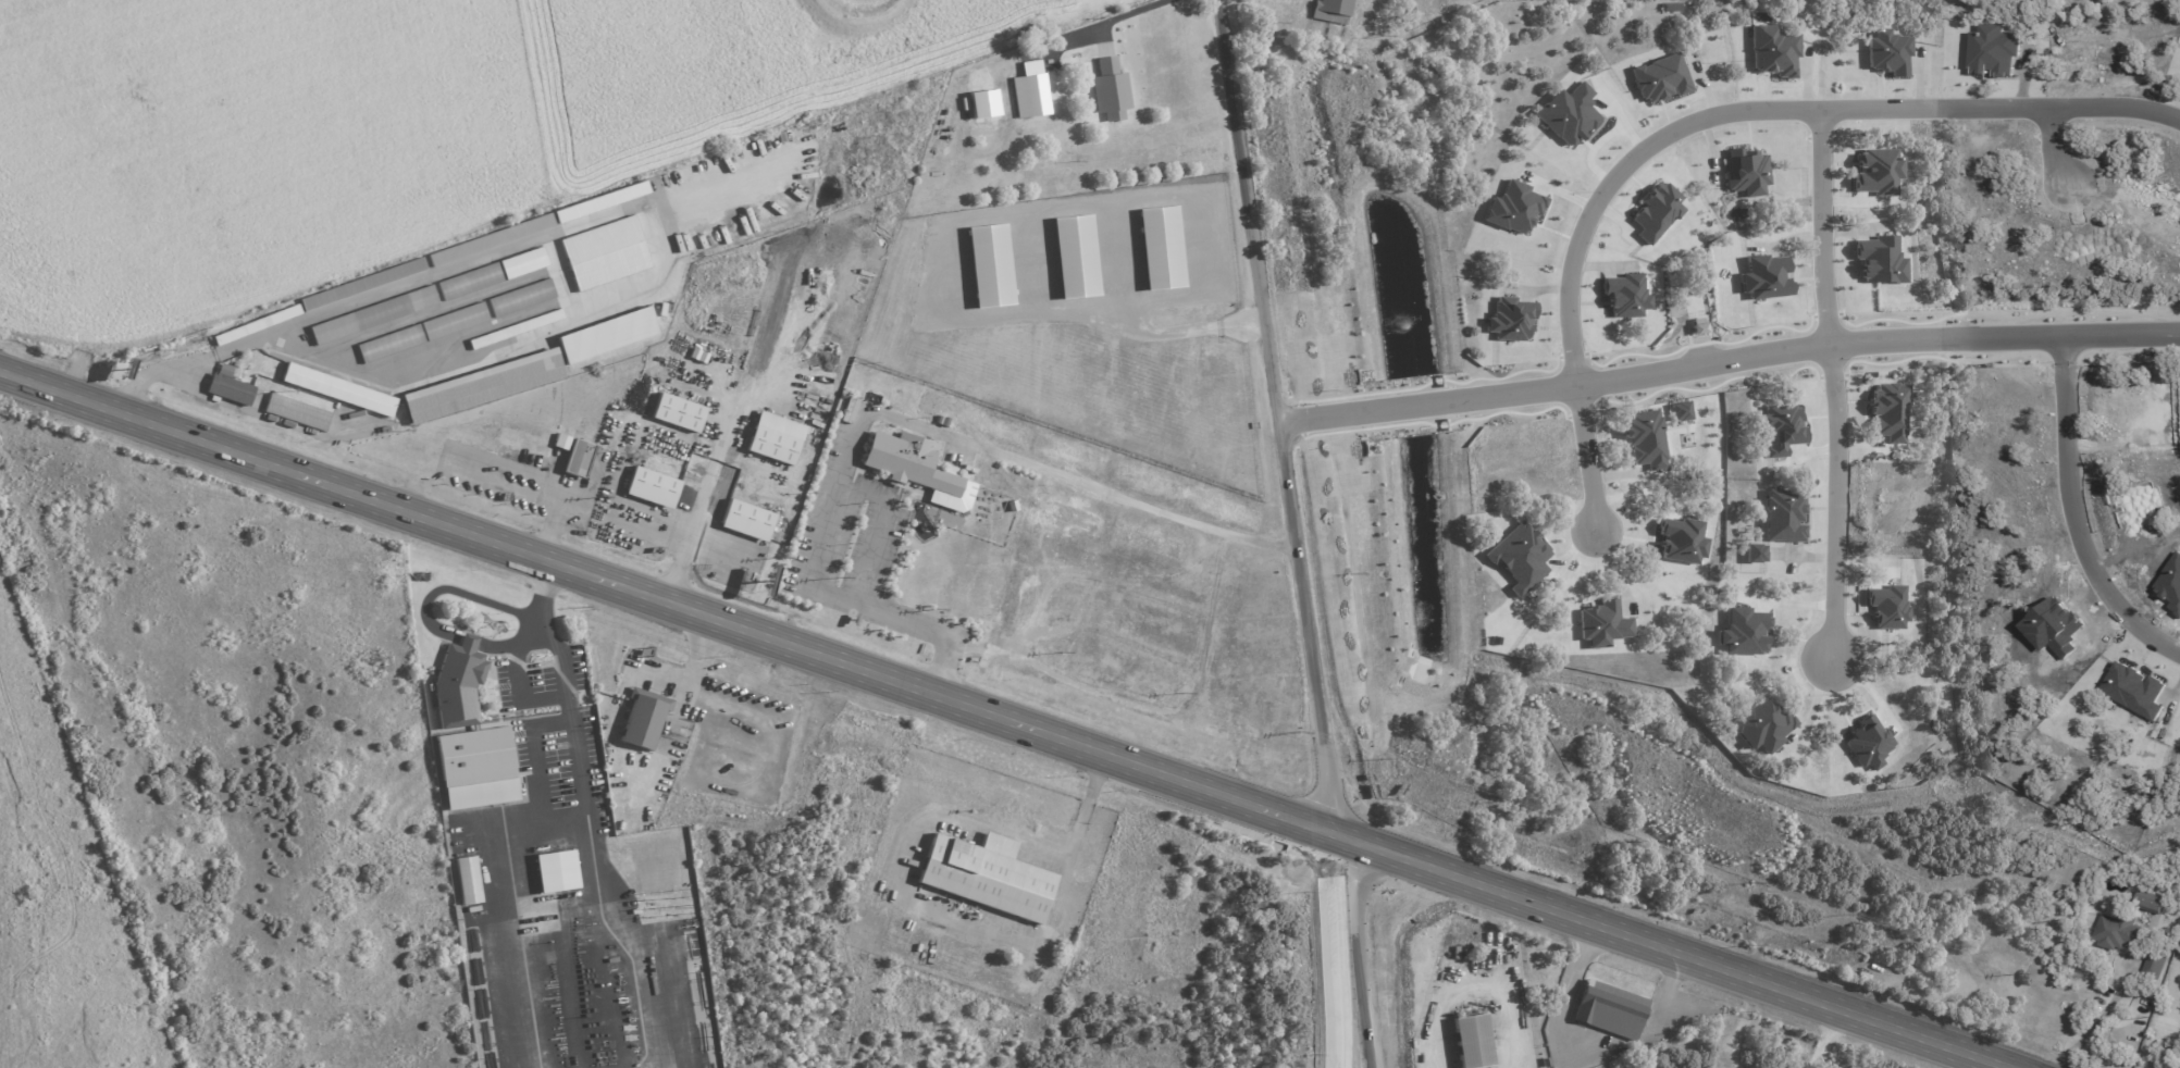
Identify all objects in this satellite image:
building: (1330, 11)
road: (1087, 20)
building: (1029, 90)
building: (1110, 90)
road: (1787, 105)
road: (2045, 146)
building: (600, 202)
road: (660, 214)
road: (959, 221)
road: (1831, 221)
building: (1161, 248)
building: (604, 253)
building: (1075, 256)
building: (990, 264)
building: (492, 274)
building: (362, 284)
building: (510, 301)
building: (372, 315)
building: (521, 326)
building: (421, 333)
building: (606, 335)
road: (1727, 348)
road: (153, 374)
building: (479, 387)
building: (230, 389)
building: (337, 389)
building: (296, 412)
building: (677, 412)
road: (884, 414)
road: (1280, 415)
road: (268, 419)
building: (773, 438)
road: (1585, 452)
building: (573, 455)
building: (907, 462)
road: (537, 484)
building: (652, 487)
road: (575, 496)
road: (1832, 501)
road: (698, 502)
road: (2060, 518)
building: (745, 520)
road: (880, 524)
building: (1045, 545)
road: (715, 549)
building: (1103, 566)
road: (453, 588)
building: (1101, 597)
road: (548, 633)
road: (523, 634)
road: (467, 642)
building: (1179, 645)
road: (1032, 661)
road: (882, 678)
road: (513, 682)
building: (455, 687)
building: (1259, 712)
building: (640, 715)
road: (532, 749)
road: (572, 754)
building: (474, 767)
road: (901, 862)
building: (554, 870)
building: (986, 874)
building: (468, 880)
road: (492, 898)
building: (2150, 902)
building: (2117, 931)
road: (646, 941)
road: (1335, 951)
road: (1457, 978)
building: (1609, 1009)
road: (2102, 1017)
road: (1884, 1027)
building: (1471, 1038)

